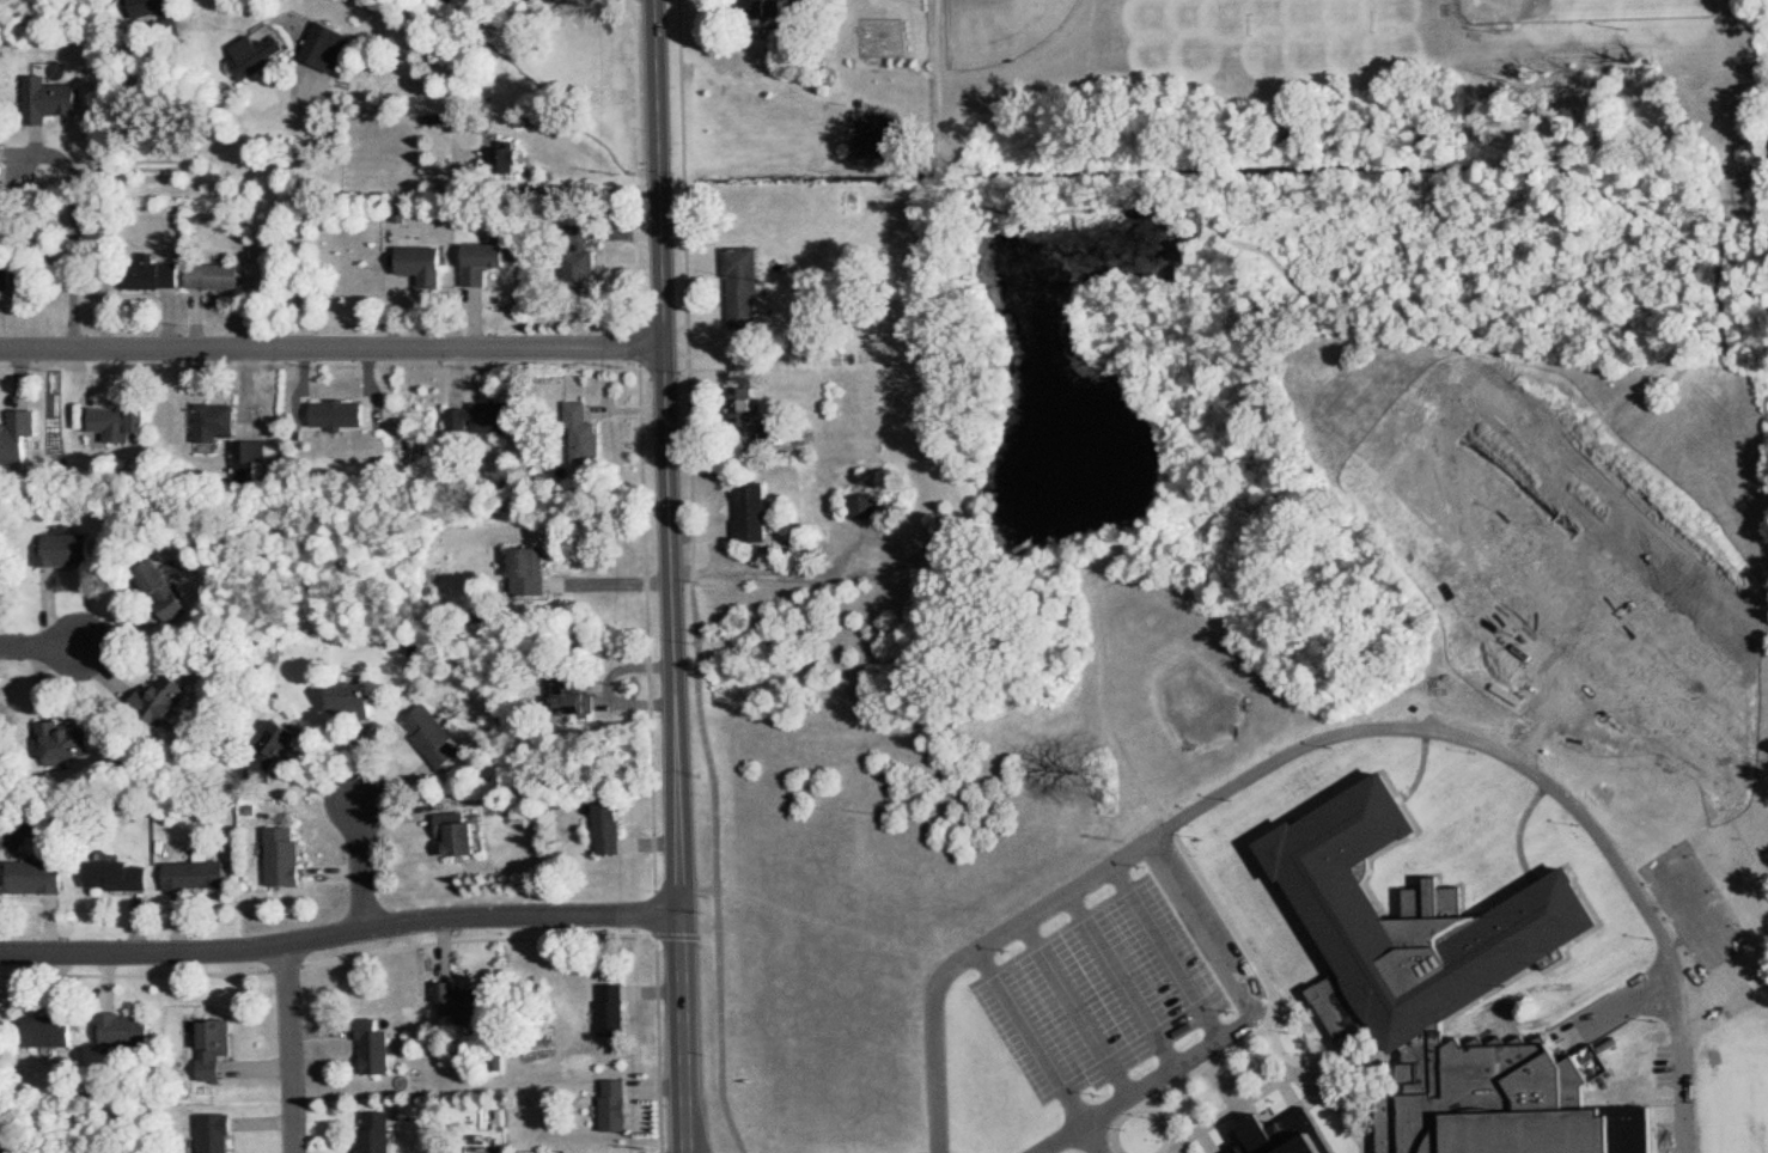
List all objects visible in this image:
building: (567, 0)
building: (151, 8)
park: (1589, 12)
park: (1001, 28)
building: (329, 47)
building: (261, 54)
road: (943, 83)
building: (51, 99)
building: (507, 158)
road: (947, 176)
road: (581, 189)
road: (946, 194)
road: (1132, 201)
road: (300, 225)
park: (1295, 232)
road: (73, 240)
building: (488, 262)
building: (426, 263)
building: (5, 274)
building: (156, 276)
building: (219, 277)
building: (745, 286)
road: (333, 347)
building: (746, 404)
building: (583, 413)
building: (341, 414)
building: (486, 416)
building: (218, 421)
building: (123, 423)
building: (773, 429)
park: (1470, 444)
building: (252, 456)
building: (868, 505)
building: (755, 512)
building: (69, 550)
road: (992, 559)
building: (535, 572)
road: (672, 576)
road: (776, 576)
park: (1629, 623)
road: (41, 647)
building: (169, 695)
building: (359, 697)
building: (577, 698)
road: (1333, 736)
building: (437, 737)
building: (72, 740)
building: (611, 828)
building: (462, 835)
building: (288, 858)
road: (364, 872)
building: (202, 873)
building: (41, 877)
building: (121, 877)
building: (1419, 921)
road: (342, 939)
parking lot: (1110, 988)
building: (463, 1002)
building: (622, 1008)
building: (56, 1027)
building: (129, 1031)
road: (1233, 1032)
building: (382, 1047)
building: (218, 1050)
road: (295, 1051)
building: (1508, 1104)
building: (624, 1106)
building: (386, 1131)
building: (218, 1133)
building: (1291, 1136)
road: (1091, 1139)

